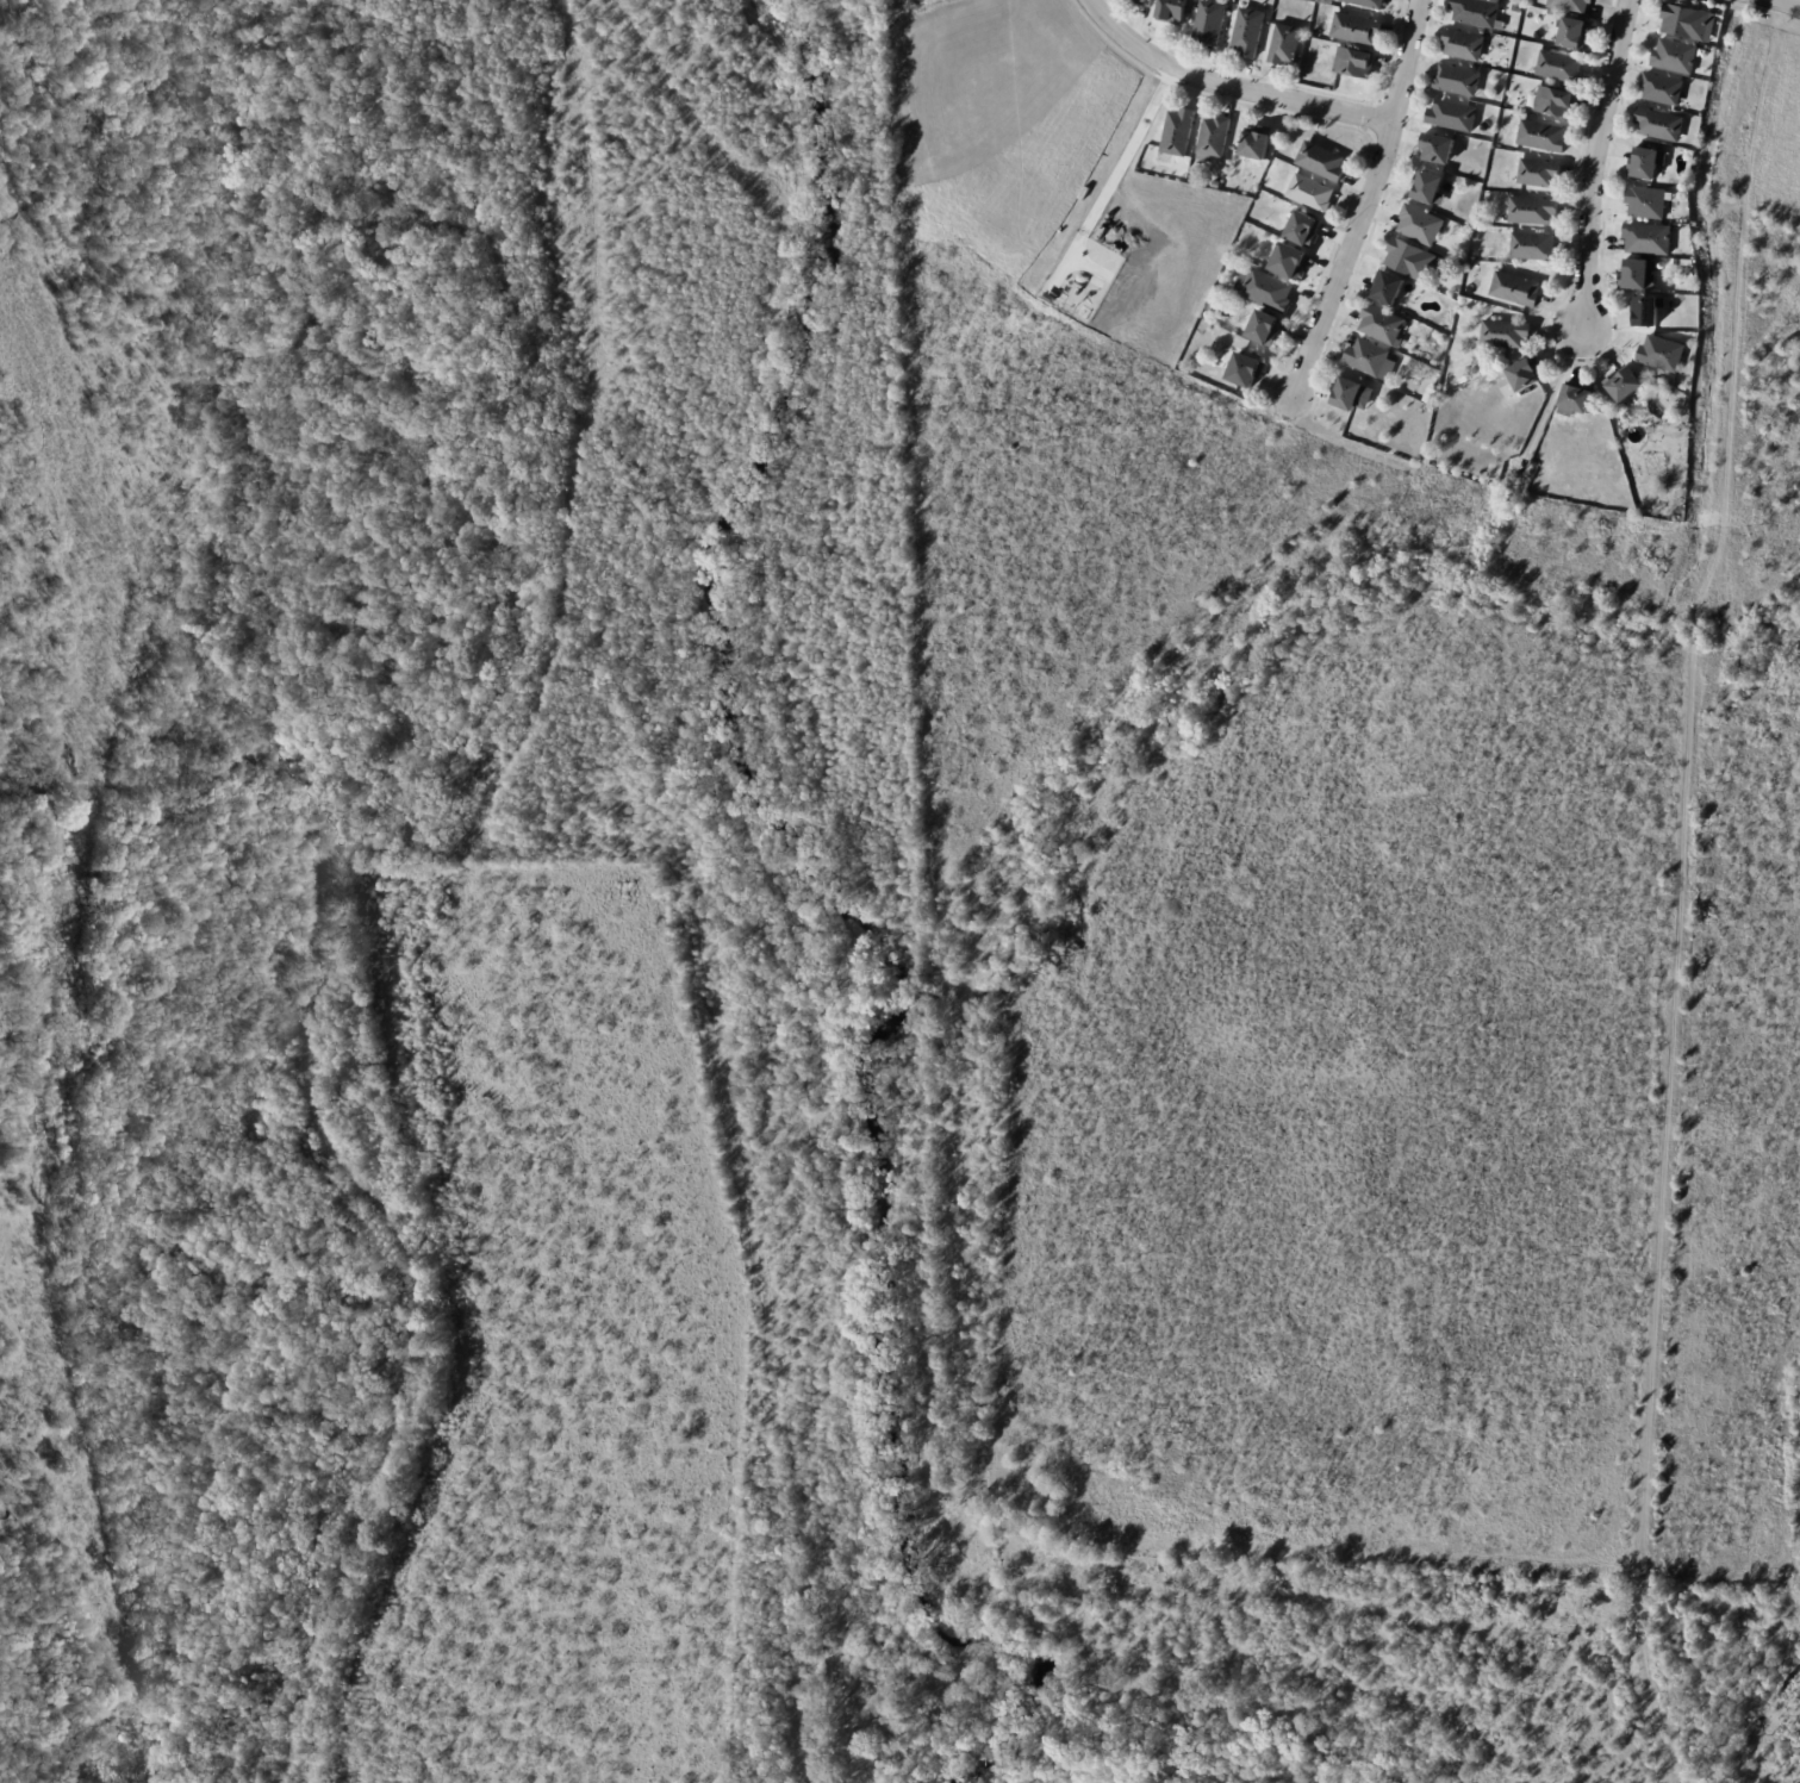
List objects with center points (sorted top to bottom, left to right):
building: (1144, 1)
road: (1792, 1)
building: (1369, 2)
building: (1572, 5)
building: (1518, 7)
building: (1175, 11)
building: (1477, 12)
building: (1690, 21)
building: (1210, 23)
building: (1358, 27)
building: (1251, 31)
building: (1575, 31)
building: (1287, 44)
building: (1466, 44)
building: (1678, 55)
building: (1356, 62)
building: (1562, 66)
building: (1459, 80)
road: (1228, 85)
building: (1664, 88)
building: (1558, 100)
building: (1456, 114)
building: (1662, 124)
building: (1179, 131)
building: (1545, 136)
building: (1215, 137)
building: (1258, 145)
building: (1443, 148)
road: (1127, 150)
building: (1325, 161)
road: (1592, 162)
building: (1649, 162)
building: (1541, 172)
building: (1431, 187)
building: (1314, 192)
building: (1649, 201)
road: (1365, 202)
building: (1534, 211)
building: (1424, 225)
building: (1304, 230)
building: (1649, 238)
building: (1534, 247)
building: (1413, 258)
road: (1065, 261)
building: (1290, 262)
road: (1089, 266)
building: (1638, 274)
building: (1393, 287)
building: (1518, 288)
building: (1269, 289)
building: (1047, 297)
building: (1649, 311)
building: (1385, 324)
building: (1265, 329)
building: (1507, 333)
building: (1664, 353)
building: (1372, 357)
building: (1247, 372)
building: (1476, 374)
building: (1522, 375)
building: (1627, 384)
building: (1659, 384)
building: (1354, 394)
building: (1578, 400)
building: (1430, 460)

